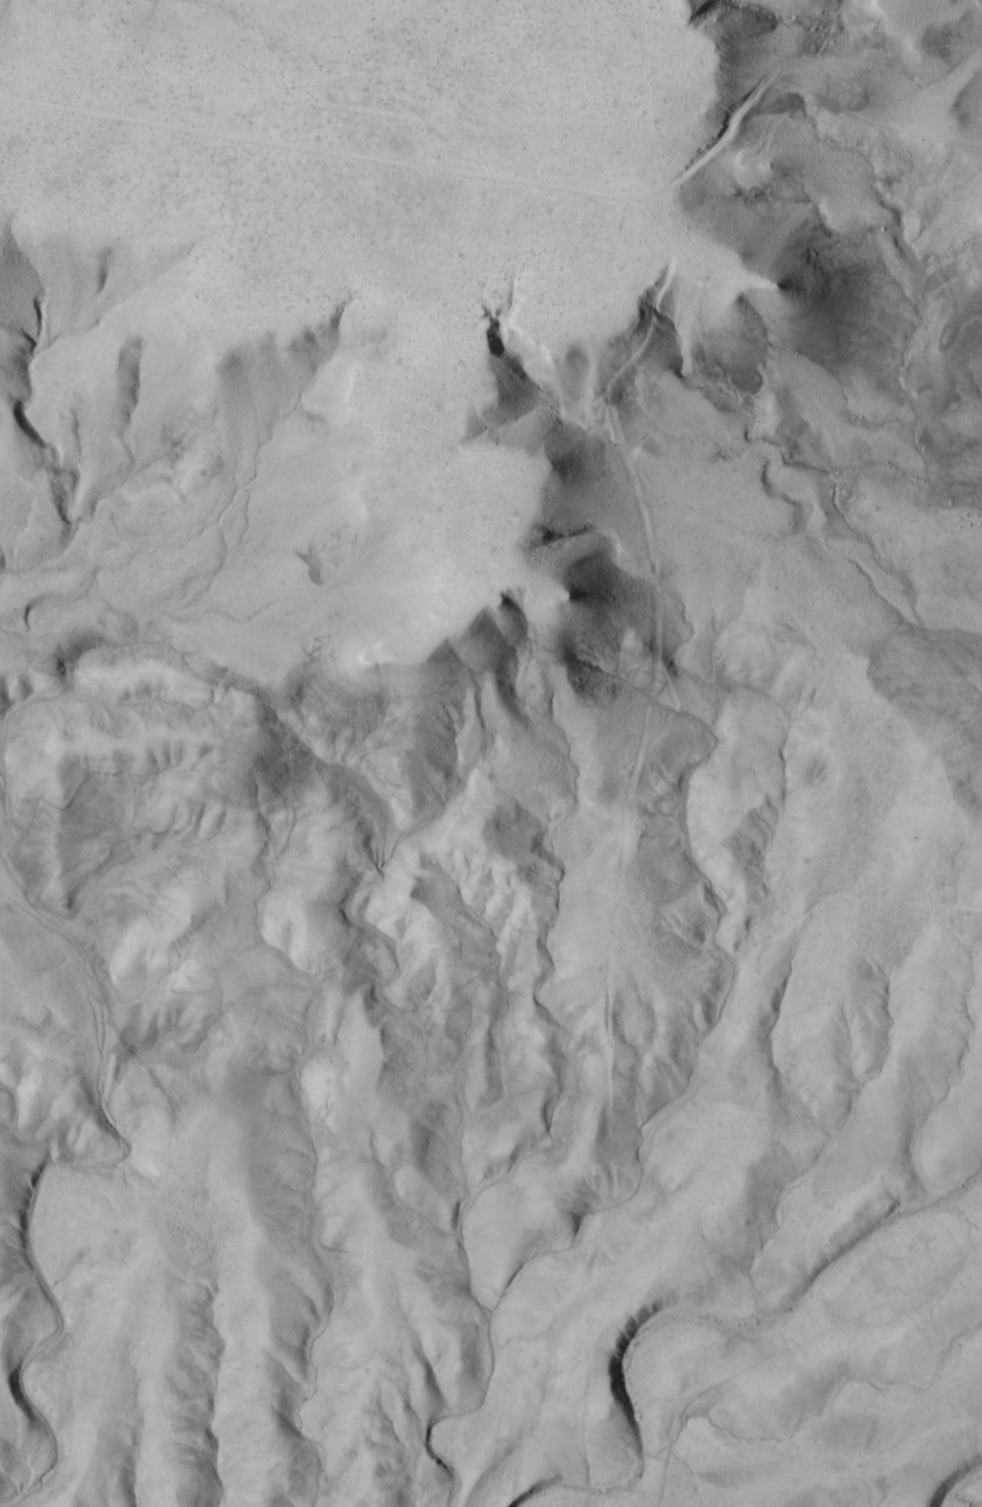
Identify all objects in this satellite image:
road: (521, 181)
road: (817, 1433)

